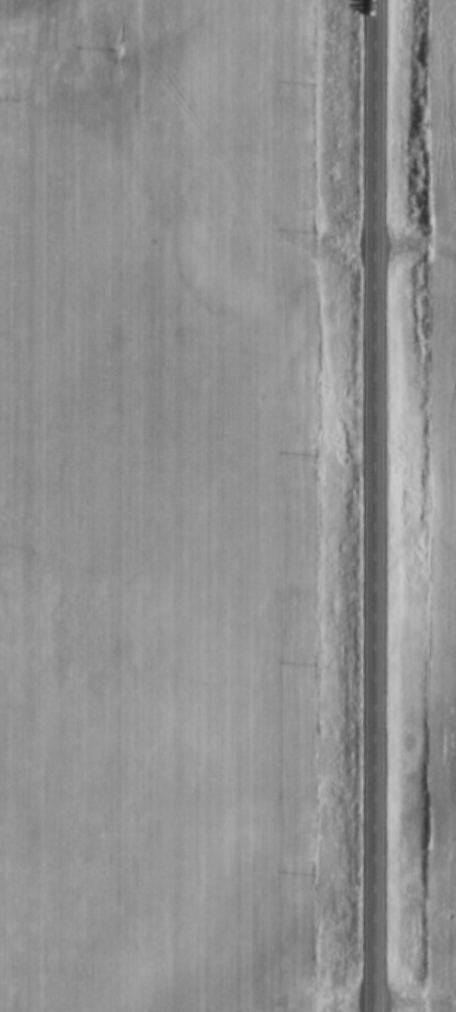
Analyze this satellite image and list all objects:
road: (373, 505)

